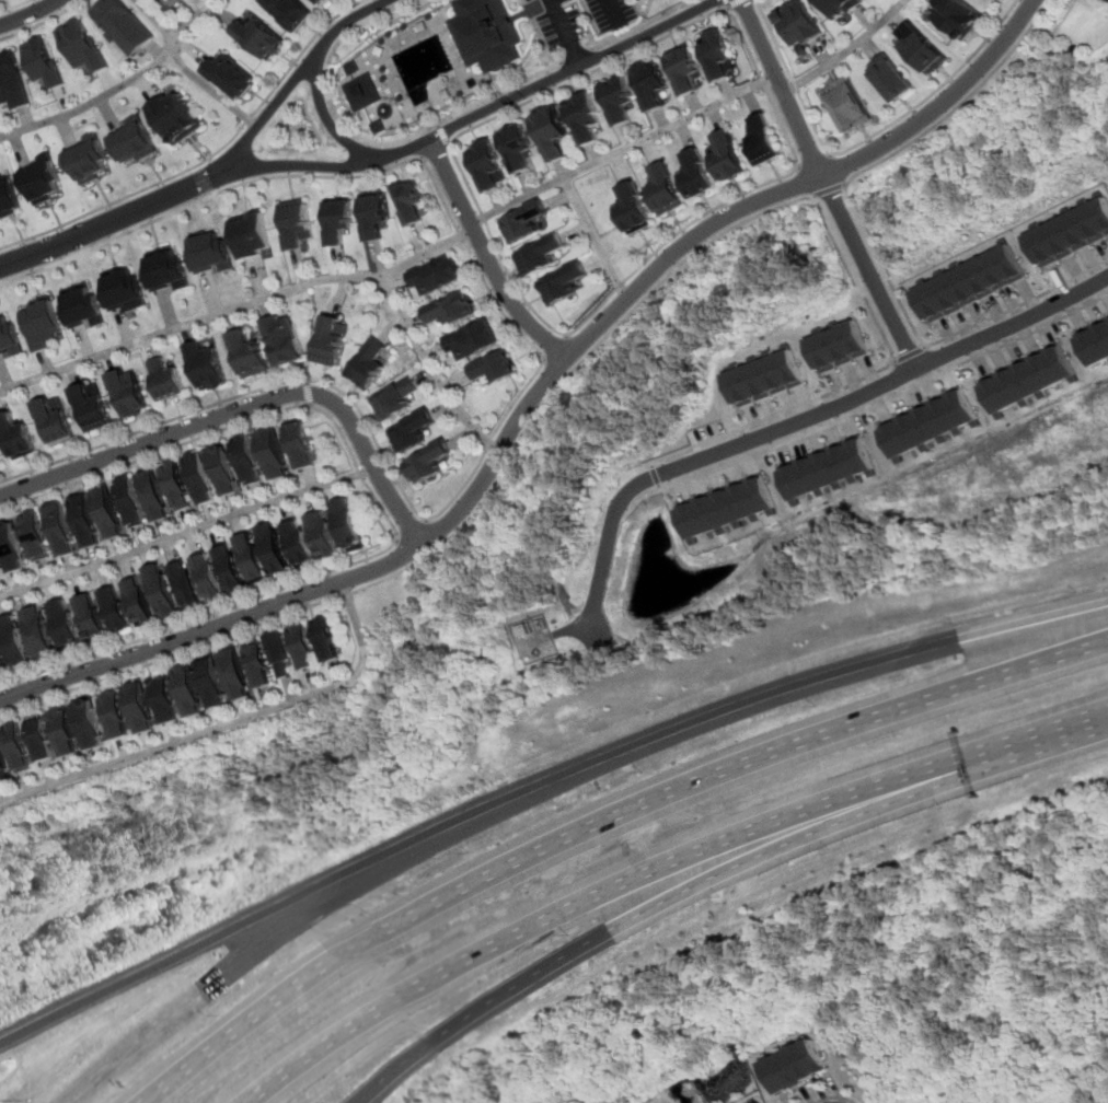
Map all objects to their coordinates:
building: (0, 0)
building: (159, 0)
building: (173, 1)
building: (322, 3)
road: (723, 3)
road: (731, 3)
road: (12, 5)
building: (849, 9)
road: (638, 12)
building: (288, 13)
road: (607, 13)
road: (27, 14)
parking lot: (574, 19)
road: (696, 19)
building: (958, 19)
road: (152, 20)
road: (187, 20)
road: (39, 21)
road: (636, 24)
building: (119, 25)
building: (801, 25)
road: (561, 32)
building: (487, 33)
road: (538, 33)
building: (254, 38)
building: (78, 46)
road: (166, 48)
building: (924, 48)
road: (851, 51)
building: (713, 53)
road: (573, 55)
building: (41, 61)
building: (350, 68)
building: (680, 68)
building: (227, 77)
building: (892, 79)
building: (648, 82)
building: (12, 84)
road: (287, 84)
road: (207, 92)
building: (361, 92)
road: (498, 93)
road: (324, 96)
building: (614, 100)
road: (85, 106)
building: (853, 106)
building: (585, 116)
building: (171, 118)
road: (326, 123)
road: (462, 124)
building: (553, 131)
road: (443, 136)
building: (766, 137)
building: (131, 140)
road: (866, 140)
building: (519, 147)
road: (437, 151)
building: (728, 155)
road: (205, 156)
building: (88, 159)
road: (817, 161)
building: (490, 165)
road: (841, 169)
building: (696, 171)
building: (44, 179)
road: (809, 181)
road: (830, 184)
road: (833, 189)
building: (666, 190)
building: (9, 197)
building: (408, 199)
building: (634, 209)
building: (371, 214)
building: (336, 220)
building: (526, 221)
building: (293, 223)
road: (100, 227)
road: (867, 231)
building: (1071, 232)
building: (249, 235)
road: (591, 240)
building: (208, 252)
building: (543, 253)
road: (487, 257)
road: (400, 266)
building: (166, 270)
building: (438, 274)
building: (565, 281)
building: (972, 281)
building: (125, 290)
building: (84, 306)
building: (450, 310)
building: (41, 321)
building: (8, 337)
building: (472, 339)
building: (280, 340)
building: (325, 341)
building: (1094, 342)
road: (927, 344)
building: (841, 345)
road: (553, 349)
building: (246, 353)
road: (911, 355)
building: (208, 364)
building: (363, 364)
building: (495, 367)
road: (428, 372)
road: (534, 372)
building: (766, 378)
building: (169, 379)
building: (1025, 379)
road: (859, 381)
building: (126, 393)
road: (302, 393)
road: (536, 393)
building: (388, 399)
road: (887, 400)
building: (90, 409)
road: (244, 410)
building: (50, 421)
road: (797, 422)
building: (928, 422)
building: (407, 430)
building: (13, 437)
building: (298, 442)
building: (274, 453)
building: (246, 458)
building: (425, 464)
building: (827, 468)
building: (224, 471)
road: (658, 476)
building: (200, 479)
building: (177, 485)
building: (151, 496)
building: (127, 503)
building: (727, 507)
road: (380, 511)
building: (104, 513)
building: (80, 521)
building: (348, 524)
road: (460, 527)
building: (56, 529)
road: (409, 530)
road: (184, 533)
building: (31, 535)
building: (324, 536)
building: (301, 544)
building: (9, 549)
building: (276, 550)
building: (253, 559)
building: (230, 570)
building: (206, 578)
building: (181, 585)
building: (158, 592)
building: (136, 602)
building: (112, 609)
building: (88, 618)
road: (1032, 619)
building: (64, 625)
road: (556, 632)
building: (39, 634)
building: (327, 637)
building: (15, 641)
building: (304, 645)
building: (279, 651)
building: (257, 662)
building: (1, 667)
building: (234, 673)
building: (211, 682)
building: (187, 690)
building: (163, 698)
building: (140, 706)
building: (116, 713)
road: (693, 719)
building: (93, 722)
road: (228, 725)
building: (68, 731)
building: (44, 740)
road: (1032, 740)
building: (18, 748)
building: (4, 769)
road: (601, 817)
road: (780, 843)
road: (587, 896)
road: (220, 933)
road: (478, 1010)
building: (800, 1066)
road: (836, 1099)

